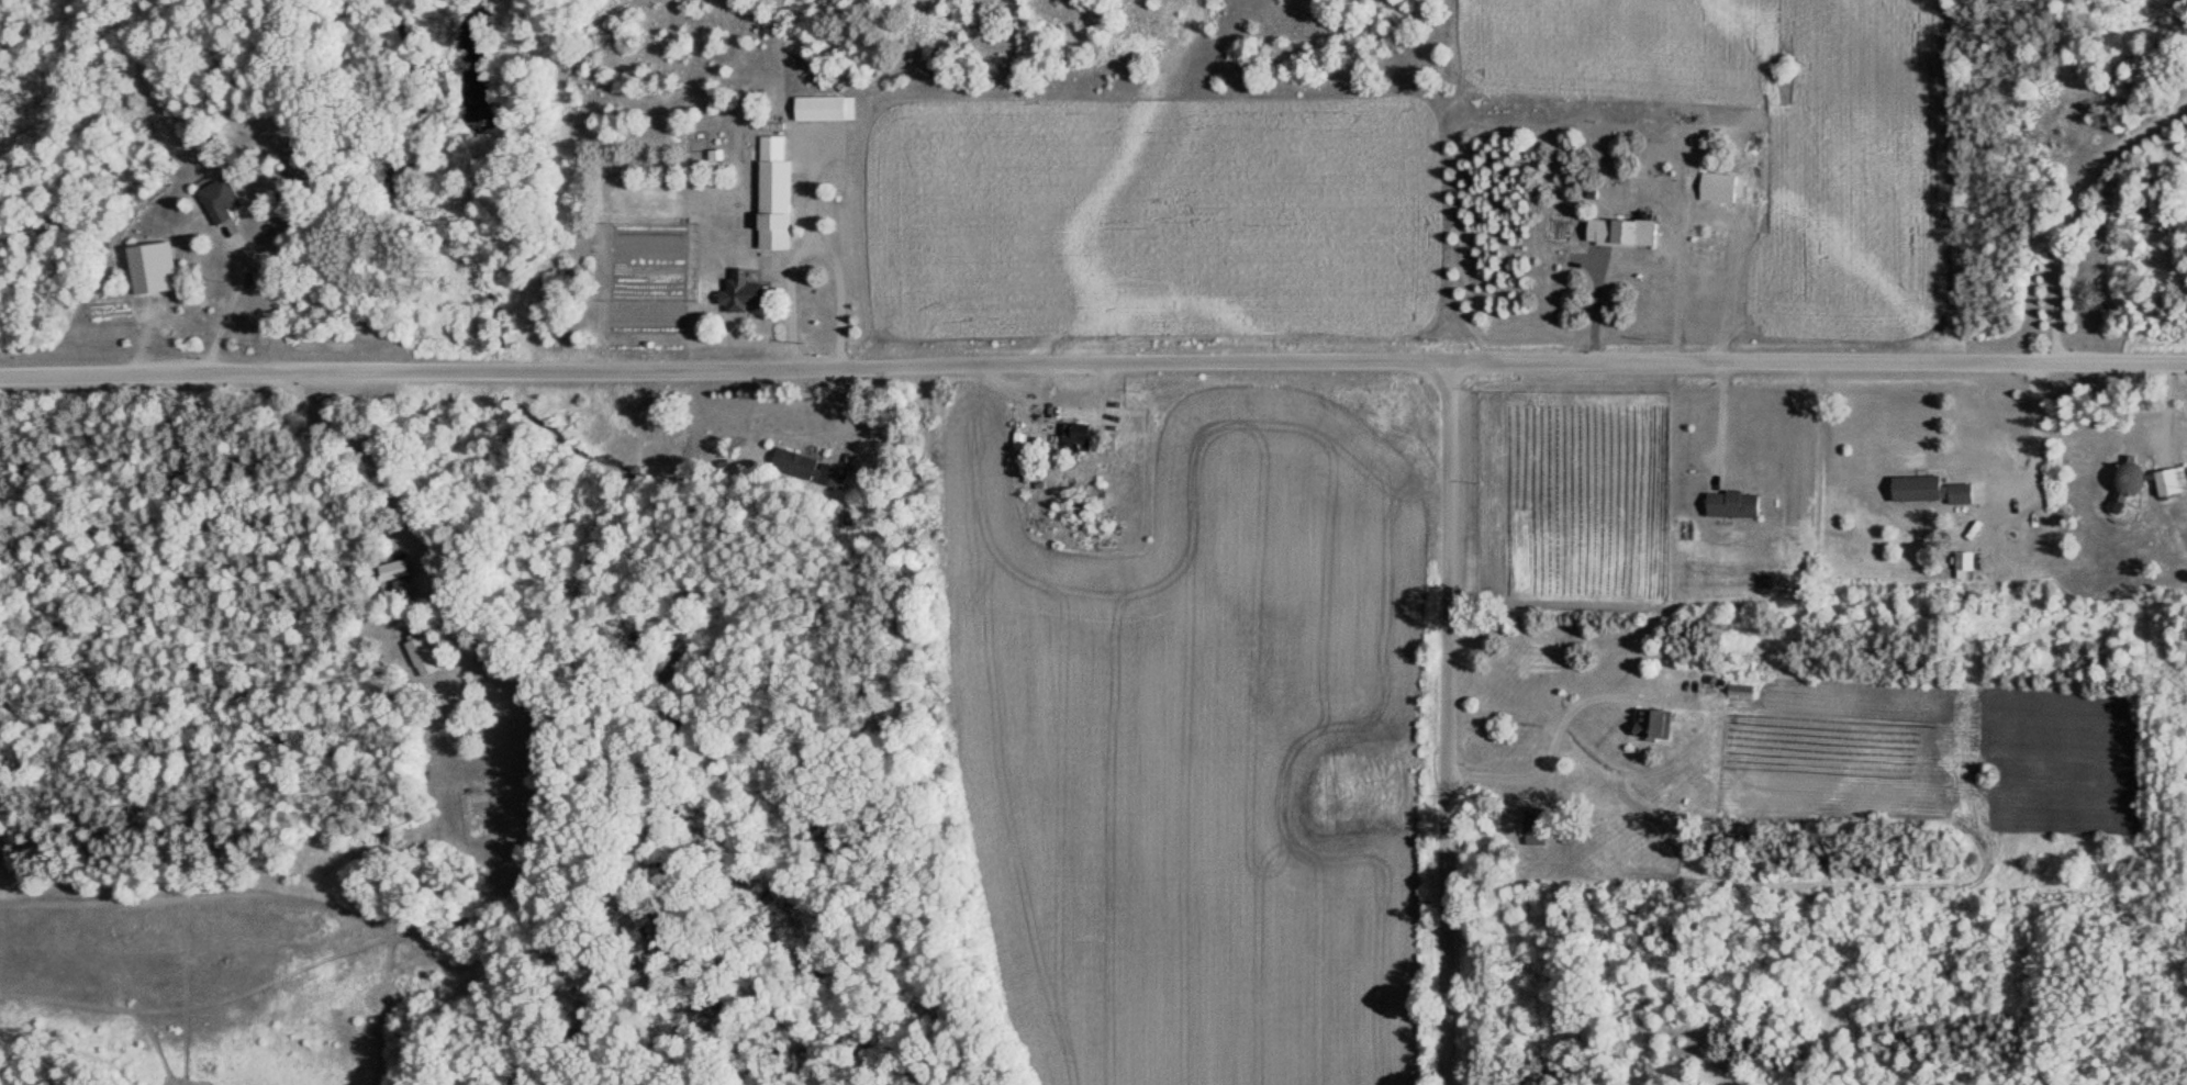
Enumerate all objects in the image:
building: (817, 109)
building: (1715, 180)
building: (769, 193)
building: (217, 201)
building: (1621, 232)
building: (738, 290)
road: (1093, 336)
building: (1074, 435)
building: (807, 468)
building: (2186, 468)
building: (2163, 482)
building: (1924, 490)
building: (1084, 493)
building: (1730, 504)
building: (1598, 560)
building: (1961, 567)
road: (1439, 708)
building: (1532, 827)

